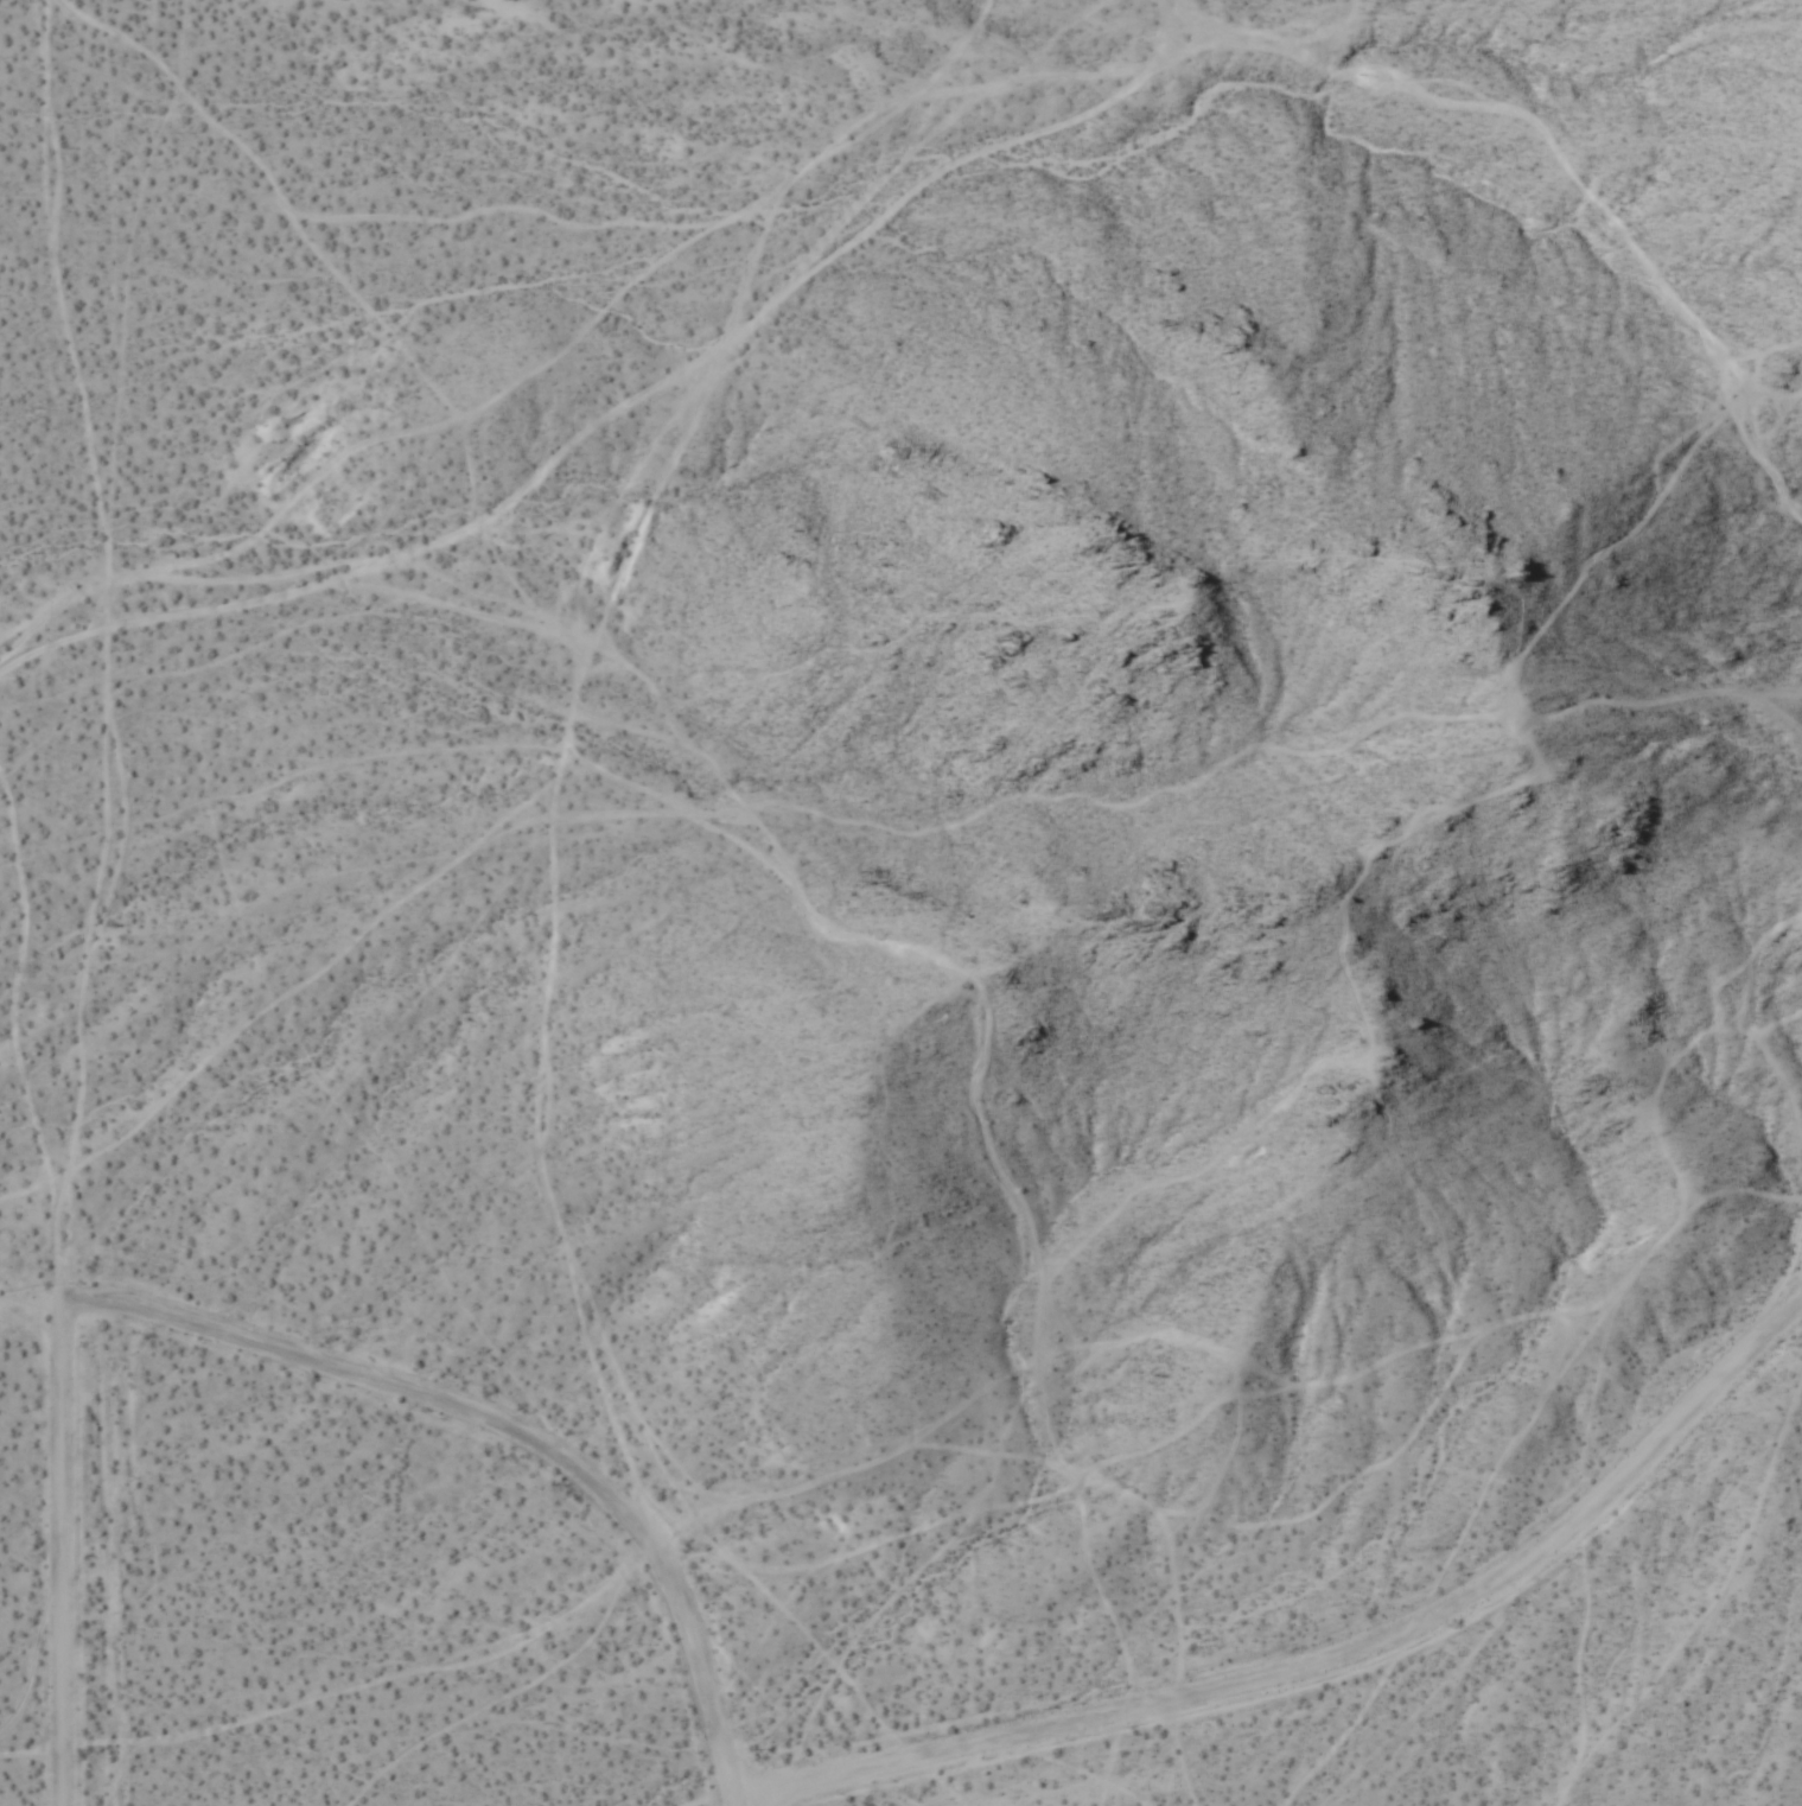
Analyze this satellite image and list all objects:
road: (503, 1425)
road: (59, 1553)
road: (1325, 1661)

